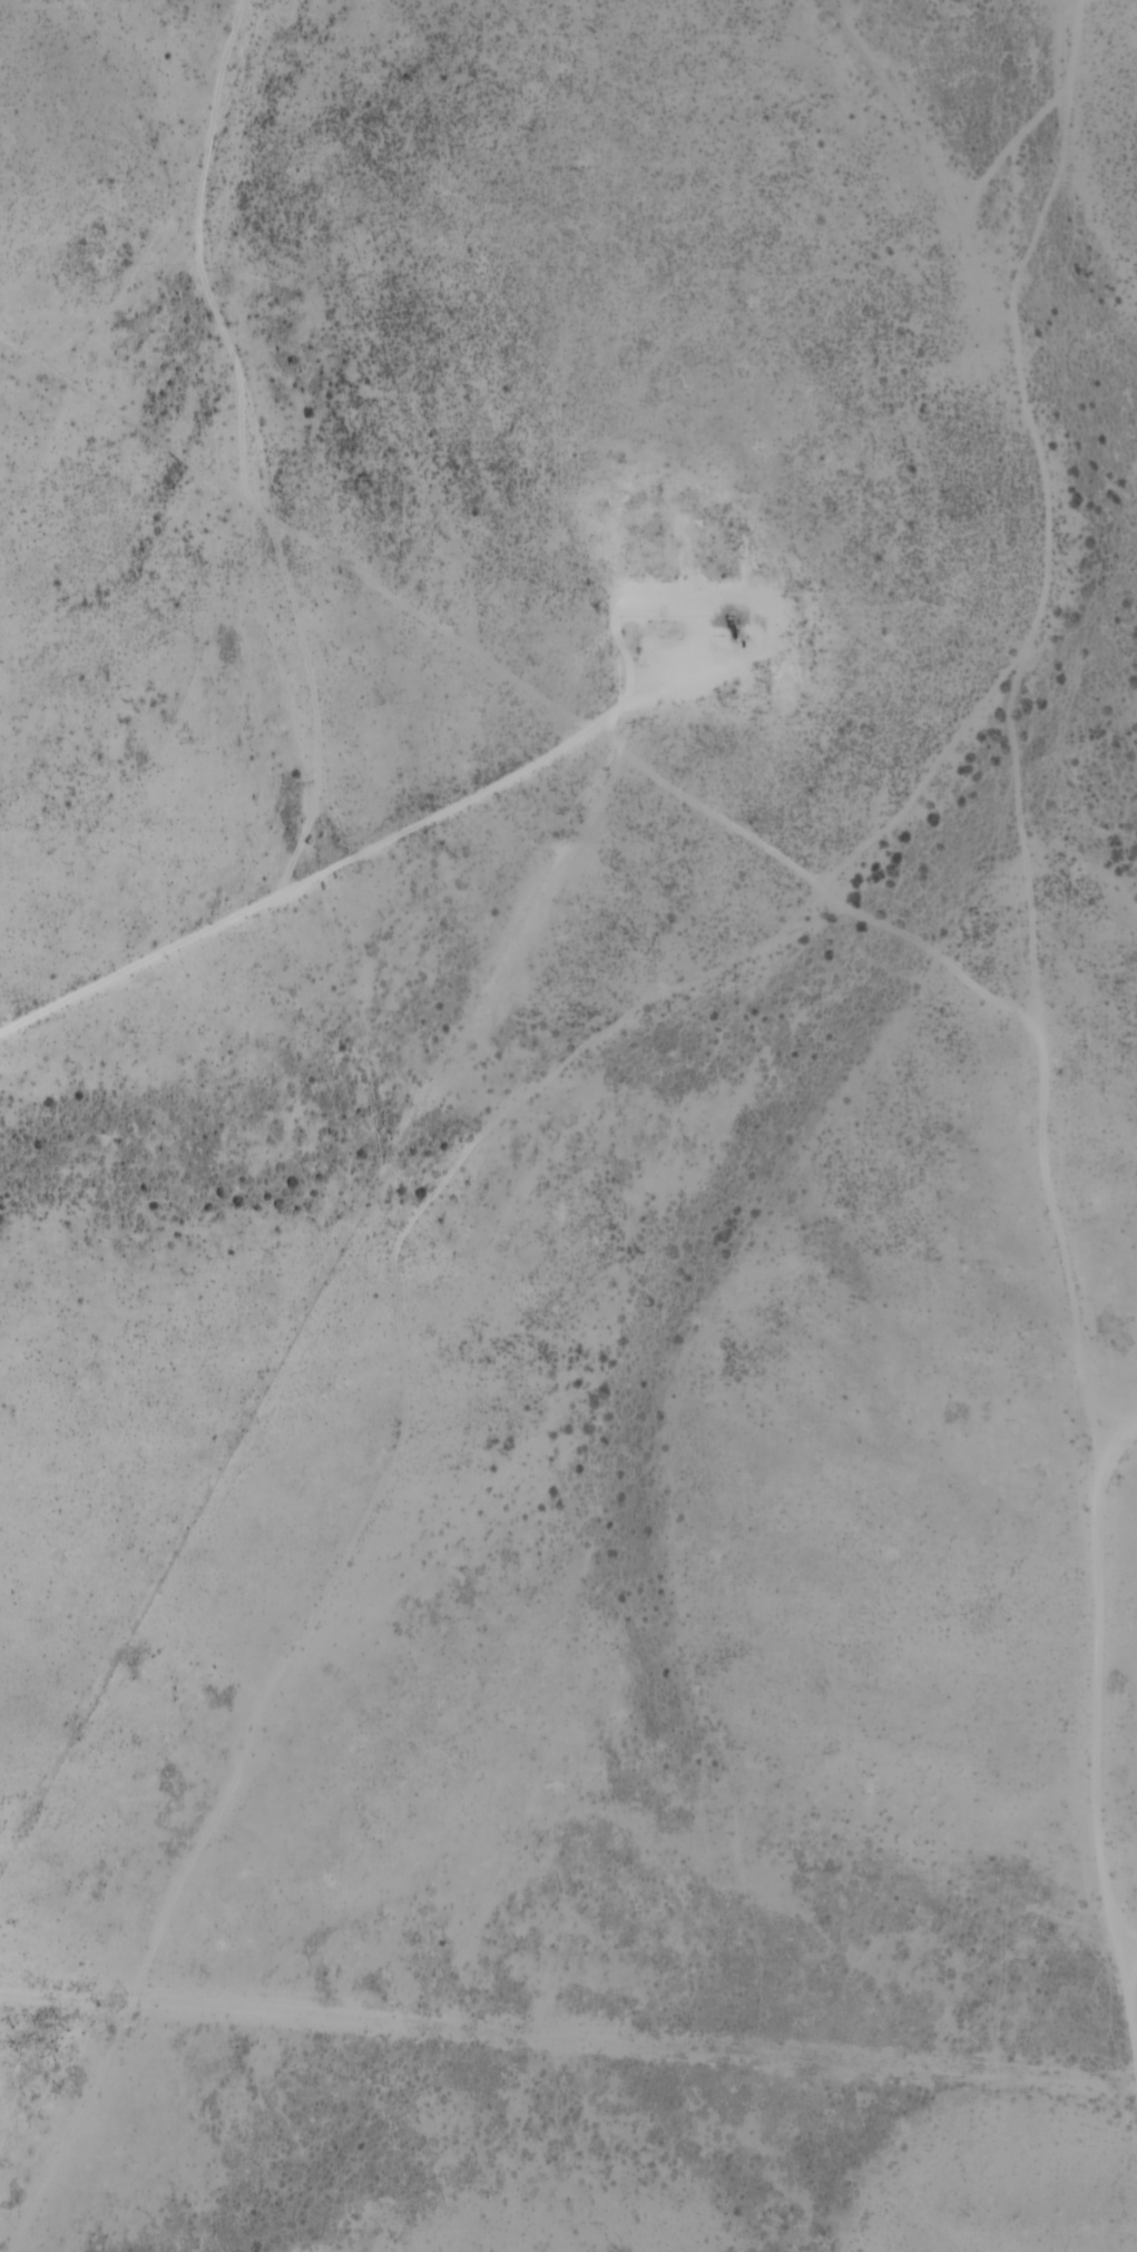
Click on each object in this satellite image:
road: (380, 1157)
road: (1109, 1730)
road: (1130, 1977)

